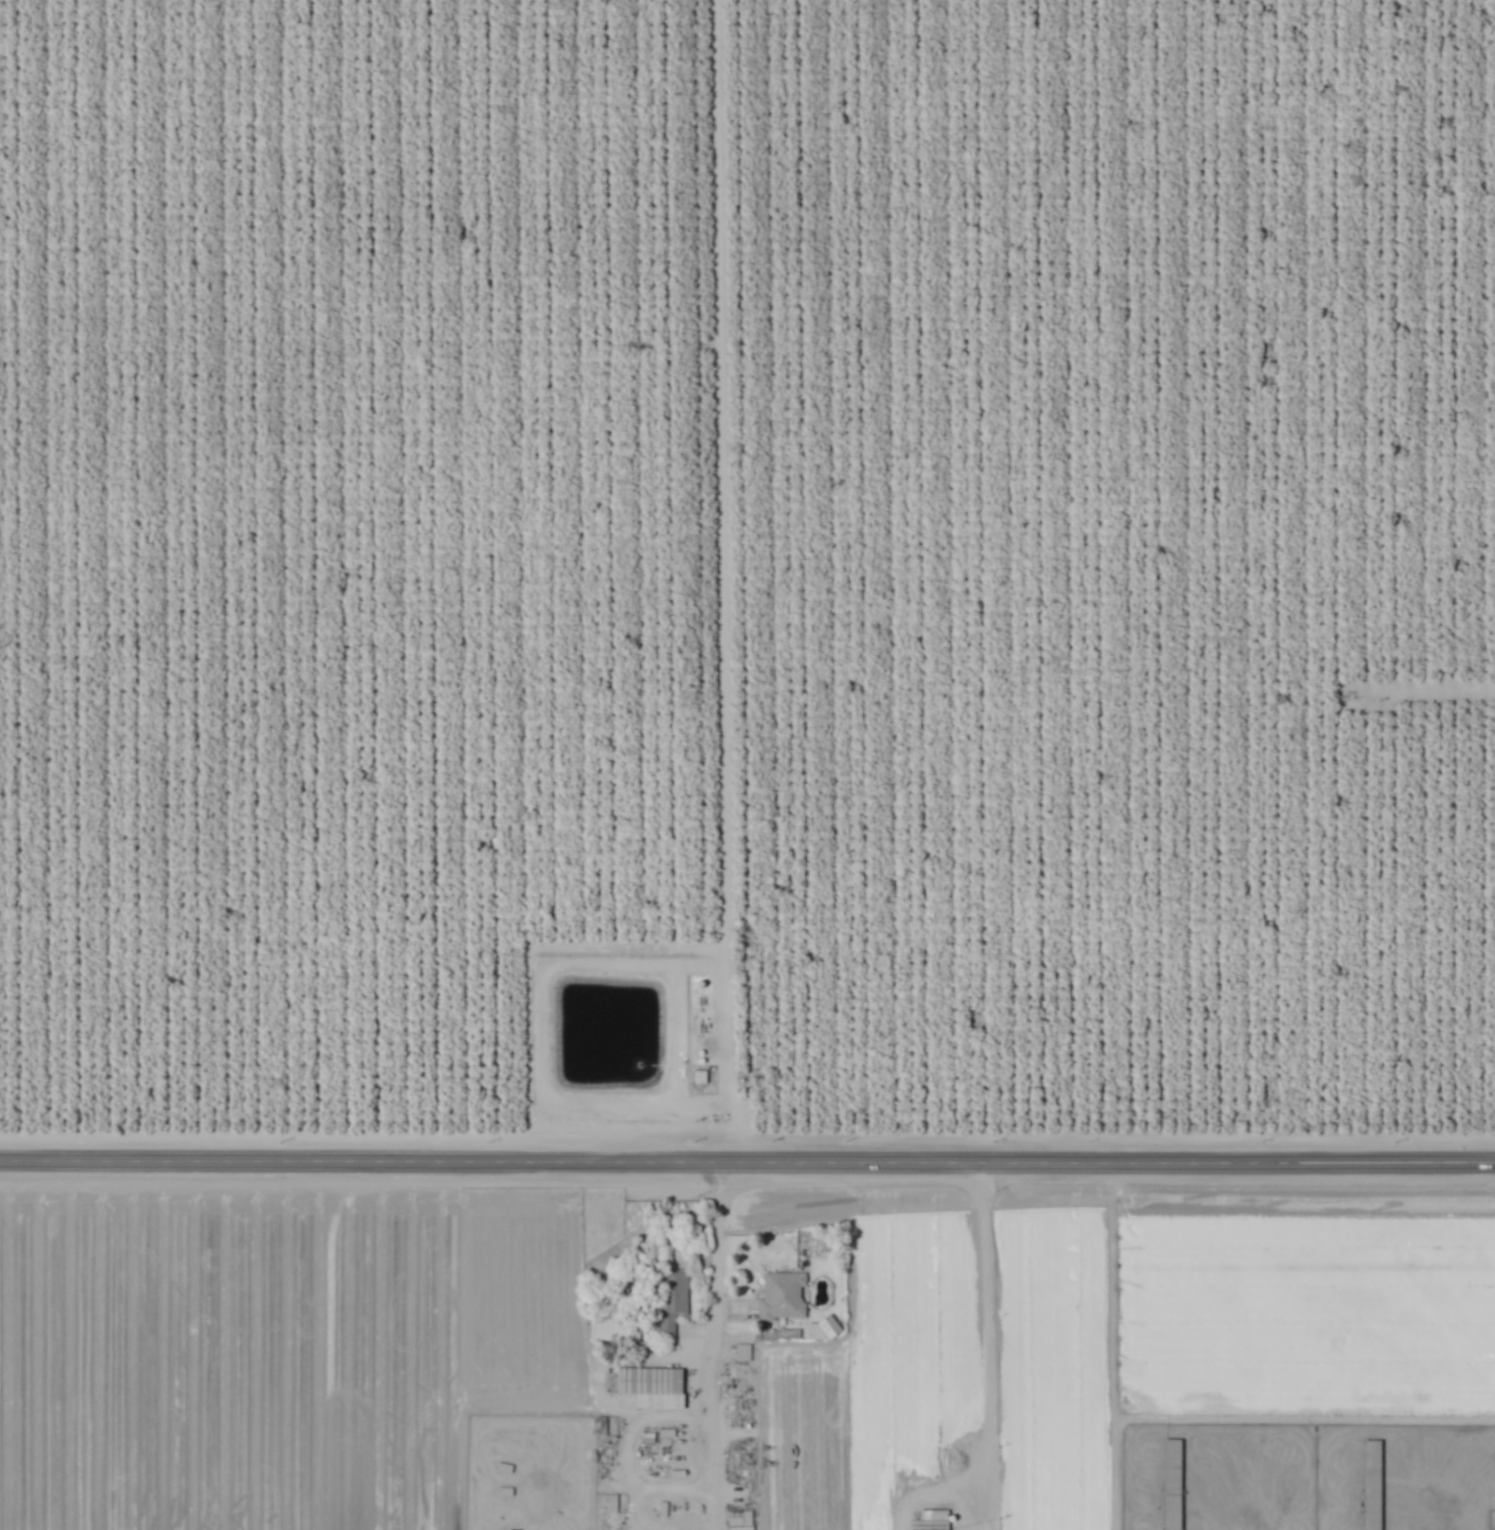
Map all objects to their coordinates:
road: (723, 580)
road: (540, 1037)
road: (747, 1160)
building: (781, 1296)
building: (670, 1300)
road: (712, 1345)
building: (741, 1352)
crop: (234, 1353)
road: (990, 1370)
building: (648, 1388)
building: (930, 1520)

